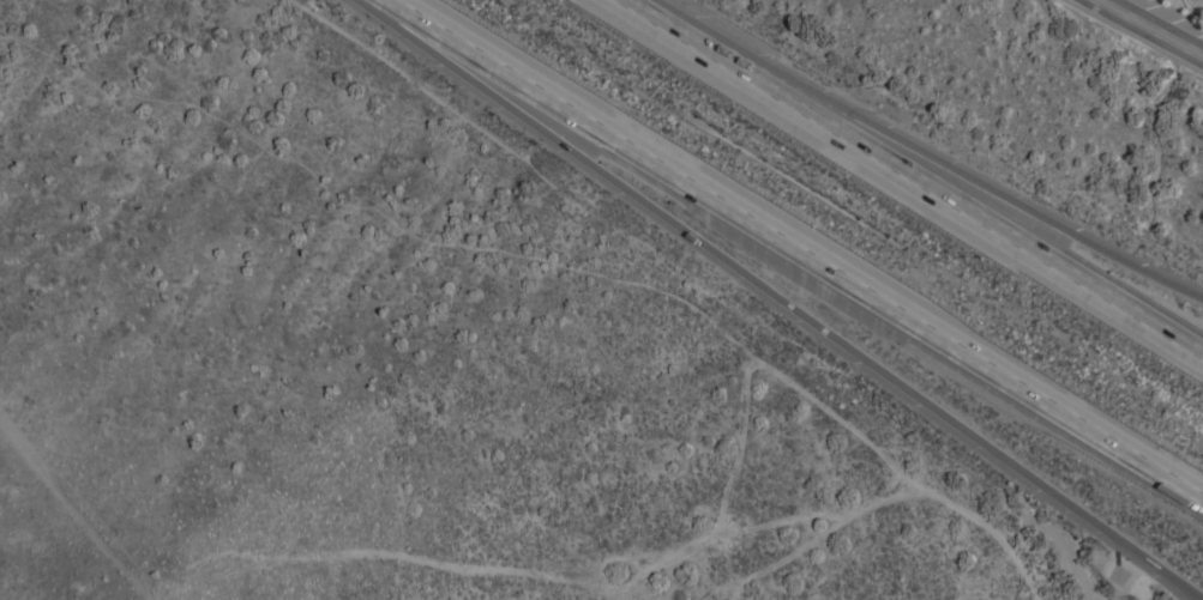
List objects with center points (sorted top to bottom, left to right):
road: (673, 22)
road: (1155, 26)
road: (956, 164)
road: (956, 194)
road: (800, 241)
road: (789, 295)

